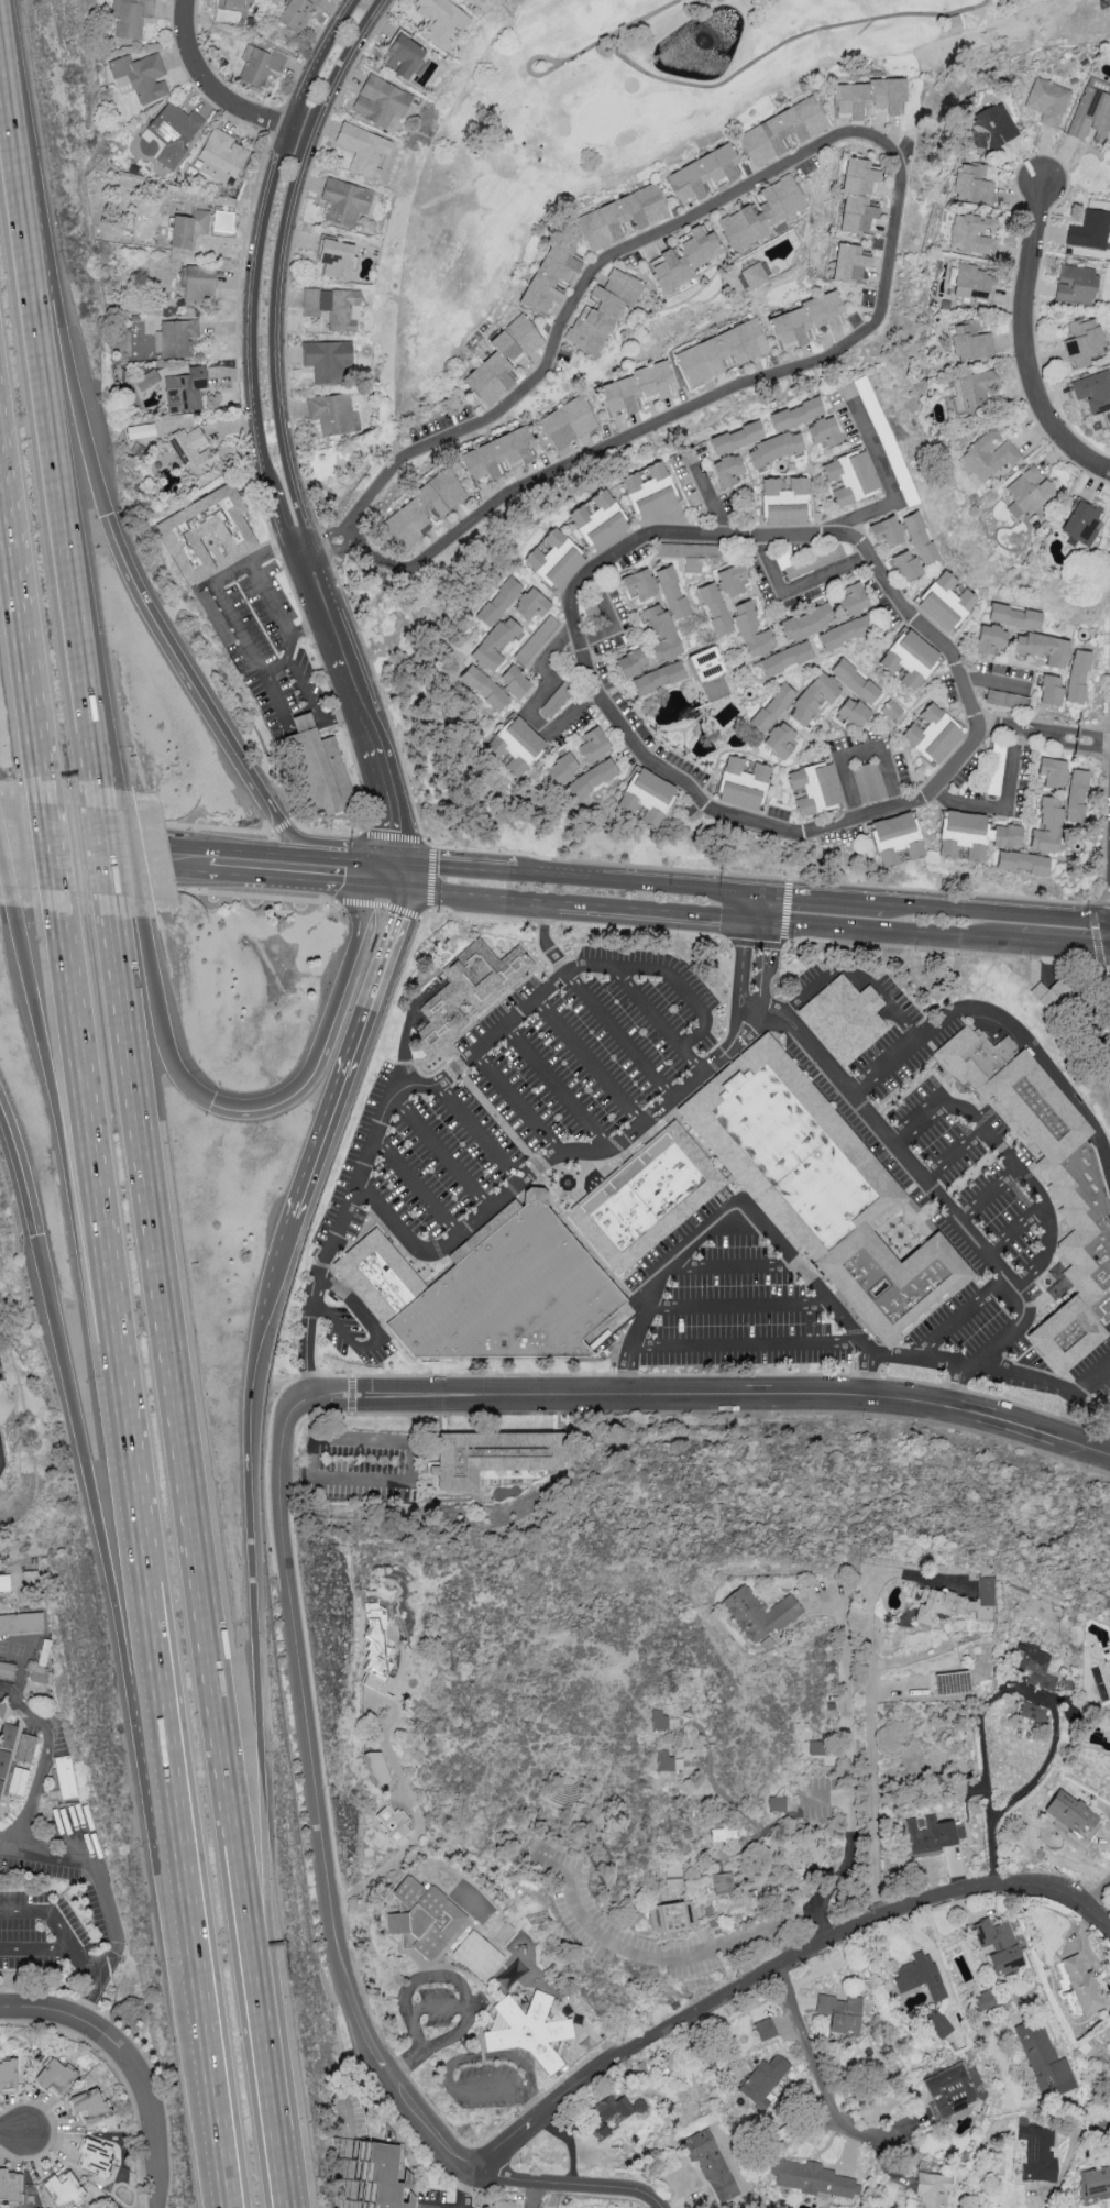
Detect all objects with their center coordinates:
building: (475, 2)
building: (230, 3)
building: (296, 13)
building: (132, 17)
building: (441, 20)
road: (619, 32)
road: (784, 43)
building: (402, 56)
road: (549, 58)
building: (260, 65)
building: (140, 77)
road: (219, 92)
building: (868, 97)
building: (380, 101)
building: (1047, 101)
building: (1090, 116)
building: (990, 128)
building: (780, 131)
building: (174, 133)
building: (363, 150)
building: (222, 152)
building: (701, 173)
road: (902, 174)
building: (971, 184)
building: (857, 198)
building: (345, 201)
building: (761, 213)
building: (619, 217)
building: (222, 221)
building: (188, 229)
road: (415, 230)
building: (1089, 230)
building: (972, 233)
road: (53, 256)
road: (282, 256)
building: (334, 259)
building: (684, 259)
road: (259, 261)
building: (848, 263)
road: (33, 265)
building: (754, 275)
building: (549, 276)
building: (972, 283)
building: (198, 284)
building: (1075, 285)
building: (332, 308)
building: (603, 311)
building: (803, 319)
building: (176, 338)
building: (970, 341)
road: (1027, 342)
building: (1082, 342)
building: (719, 352)
building: (501, 359)
building: (327, 360)
building: (146, 380)
building: (635, 387)
building: (185, 389)
building: (976, 389)
building: (1093, 391)
building: (333, 414)
building: (794, 414)
building: (567, 422)
building: (140, 430)
building: (823, 431)
building: (735, 438)
building: (773, 449)
building: (190, 452)
building: (496, 454)
building: (989, 454)
building: (727, 470)
building: (850, 476)
road: (890, 482)
building: (648, 491)
building: (1027, 493)
road: (711, 501)
building: (784, 502)
building: (420, 509)
building: (597, 520)
building: (1081, 523)
building: (205, 531)
building: (887, 531)
building: (919, 538)
road: (304, 545)
road: (326, 547)
building: (689, 553)
road: (257, 559)
building: (552, 559)
building: (905, 567)
road: (19, 572)
building: (730, 581)
building: (639, 584)
road: (799, 584)
building: (671, 593)
road: (274, 597)
building: (851, 600)
building: (497, 602)
building: (945, 602)
building: (530, 604)
building: (714, 608)
building: (1014, 617)
road: (614, 623)
building: (804, 623)
building: (750, 630)
road: (241, 631)
building: (844, 633)
building: (660, 634)
building: (535, 639)
building: (990, 639)
road: (292, 640)
building: (494, 644)
road: (341, 645)
building: (1043, 648)
road: (84, 658)
building: (784, 658)
building: (910, 659)
road: (100, 660)
building: (630, 662)
road: (185, 667)
building: (710, 673)
building: (1077, 677)
building: (657, 678)
road: (996, 680)
building: (854, 681)
building: (514, 682)
road: (595, 685)
building: (483, 688)
road: (303, 689)
building: (1049, 691)
building: (813, 697)
building: (1003, 700)
road: (277, 704)
road: (528, 704)
building: (772, 707)
building: (853, 712)
road: (326, 716)
road: (1047, 734)
building: (932, 735)
building: (780, 739)
building: (593, 745)
building: (515, 747)
road: (861, 753)
road: (40, 761)
building: (562, 768)
building: (1052, 772)
building: (320, 773)
building: (591, 779)
building: (868, 782)
building: (741, 783)
building: (815, 788)
building: (1076, 795)
road: (402, 797)
building: (646, 798)
road: (377, 799)
road: (999, 808)
road: (135, 822)
road: (283, 825)
building: (1045, 826)
road: (325, 832)
road: (393, 836)
building: (972, 836)
building: (895, 839)
road: (52, 848)
road: (188, 848)
road: (320, 848)
road: (109, 854)
road: (132, 856)
building: (1020, 863)
road: (103, 864)
traffic signals: (377, 864)
road: (394, 865)
traffic signals: (410, 867)
road: (464, 870)
road: (374, 875)
road: (758, 876)
road: (8, 877)
road: (255, 877)
road: (409, 878)
road: (432, 878)
road: (639, 882)
road: (337, 883)
traffic signals: (371, 887)
road: (167, 888)
road: (389, 888)
traffic signals: (408, 890)
traffic signals: (760, 892)
road: (483, 897)
road: (822, 897)
road: (380, 903)
road: (759, 907)
road: (997, 912)
road: (659, 913)
road: (512, 918)
traffic signals: (758, 922)
road: (890, 932)
road: (1097, 932)
road: (783, 940)
road: (545, 941)
road: (1067, 943)
road: (979, 953)
road: (741, 963)
road: (762, 965)
road: (858, 976)
building: (468, 991)
building: (1047, 995)
road: (484, 1011)
road: (158, 1020)
road: (658, 1020)
building: (844, 1020)
road: (322, 1031)
road: (406, 1032)
road: (619, 1034)
road: (350, 1053)
road: (904, 1054)
road: (589, 1062)
road: (1047, 1066)
parking lot: (545, 1087)
road: (558, 1088)
road: (400, 1091)
road: (61, 1096)
road: (84, 1099)
road: (518, 1101)
road: (494, 1114)
road: (477, 1133)
road: (598, 1151)
road: (440, 1152)
road: (903, 1153)
road: (953, 1155)
road: (1008, 1161)
parking lot: (942, 1167)
road: (17, 1175)
fountain: (570, 1183)
road: (416, 1186)
building: (823, 1188)
road: (987, 1194)
building: (648, 1198)
building: (1085, 1201)
road: (388, 1215)
road: (1014, 1230)
road: (691, 1249)
road: (274, 1259)
road: (734, 1266)
building: (382, 1276)
road: (806, 1277)
building: (514, 1293)
parking lot: (733, 1297)
road: (738, 1306)
road: (615, 1318)
road: (961, 1318)
road: (633, 1342)
road: (749, 1344)
road: (1000, 1345)
road: (307, 1350)
road: (893, 1356)
road: (1040, 1381)
road: (957, 1386)
road: (706, 1394)
road: (186, 1441)
road: (405, 1446)
building: (492, 1455)
parking lot: (365, 1464)
road: (108, 1564)
building: (4, 1583)
road: (144, 1589)
building: (985, 1590)
building: (937, 1605)
building: (759, 1613)
building: (21, 1624)
road: (253, 1632)
building: (375, 1649)
building: (1034, 1666)
building: (36, 1674)
road: (849, 1692)
road: (998, 1692)
building: (1, 1707)
building: (1031, 1715)
building: (658, 1720)
building: (815, 1748)
building: (4, 1749)
road: (871, 1770)
road: (407, 1794)
building: (776, 1804)
building: (1069, 1813)
building: (392, 1823)
building: (930, 1835)
road: (849, 1839)
road: (12, 1844)
road: (51, 1855)
building: (721, 1883)
road: (1095, 1889)
road: (330, 1903)
parking lot: (62, 1913)
building: (672, 1916)
building: (422, 1918)
road: (65, 1937)
building: (998, 1945)
building: (477, 1955)
road: (673, 1958)
road: (88, 1959)
road: (776, 1967)
building: (917, 1976)
road: (442, 1977)
building: (1081, 1985)
road: (58, 1993)
building: (983, 2000)
road: (437, 2008)
building: (840, 2013)
road: (65, 2015)
building: (935, 2021)
building: (765, 2029)
building: (529, 2031)
road: (207, 2051)
building: (1042, 2057)
road: (454, 2065)
road: (409, 2067)
building: (8, 2076)
building: (55, 2078)
road: (820, 2078)
building: (762, 2081)
road: (272, 2085)
building: (949, 2091)
road: (538, 2105)
building: (91, 2106)
building: (608, 2112)
road: (1103, 2123)
road: (151, 2124)
road: (12, 2131)
building: (1037, 2152)
building: (92, 2156)
building: (711, 2165)
building: (387, 2175)
building: (809, 2178)
building: (1096, 2180)
building: (10, 2185)
building: (63, 2187)
road: (470, 2188)
building: (933, 2190)
building: (503, 2205)

